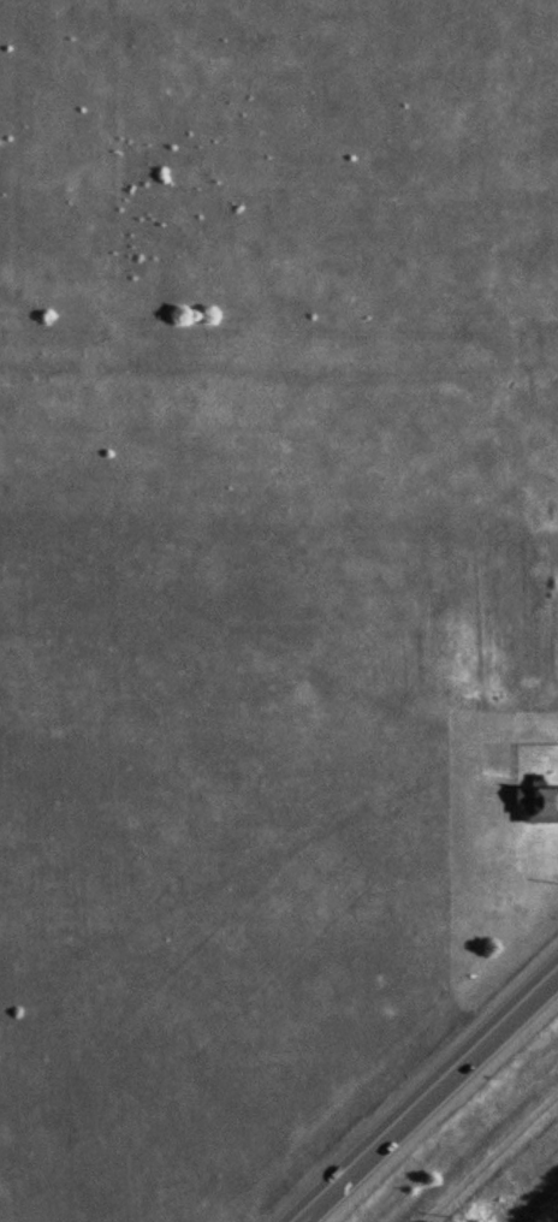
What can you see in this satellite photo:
building: (536, 802)
road: (422, 1092)
road: (487, 1153)
railway: (535, 1200)

